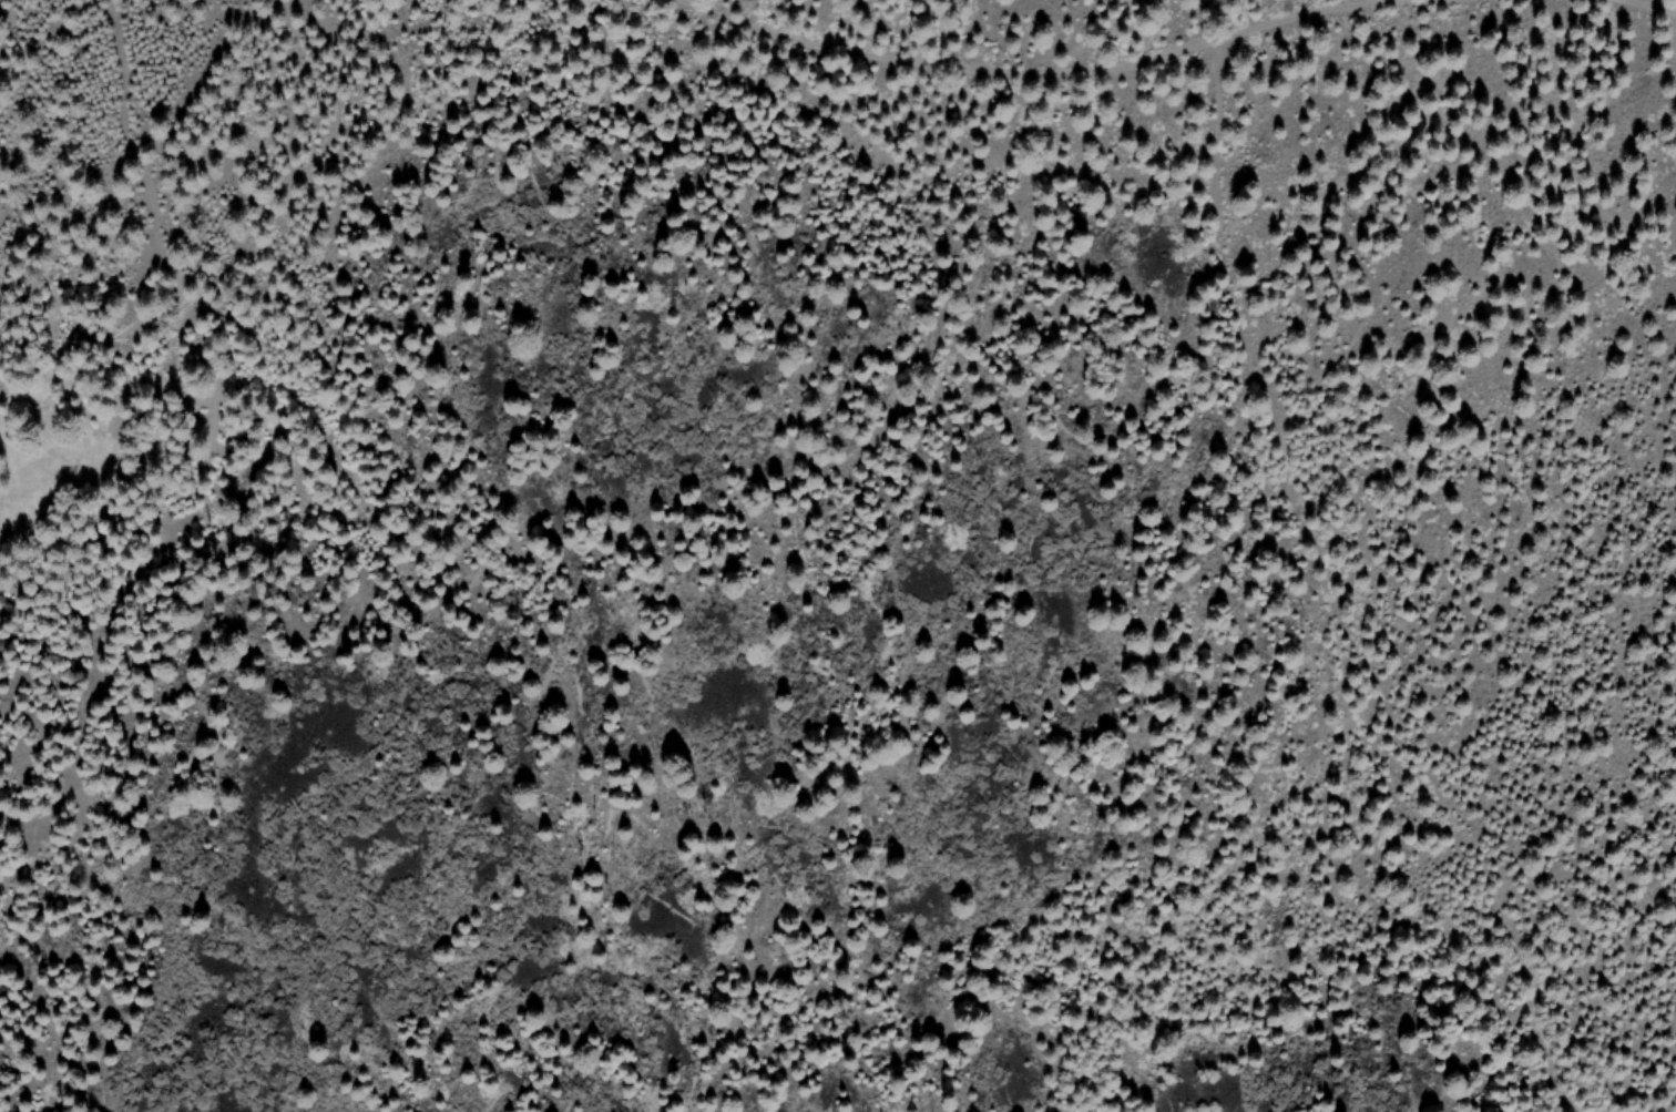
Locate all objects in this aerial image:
road: (1651, 7)
road: (1066, 72)

